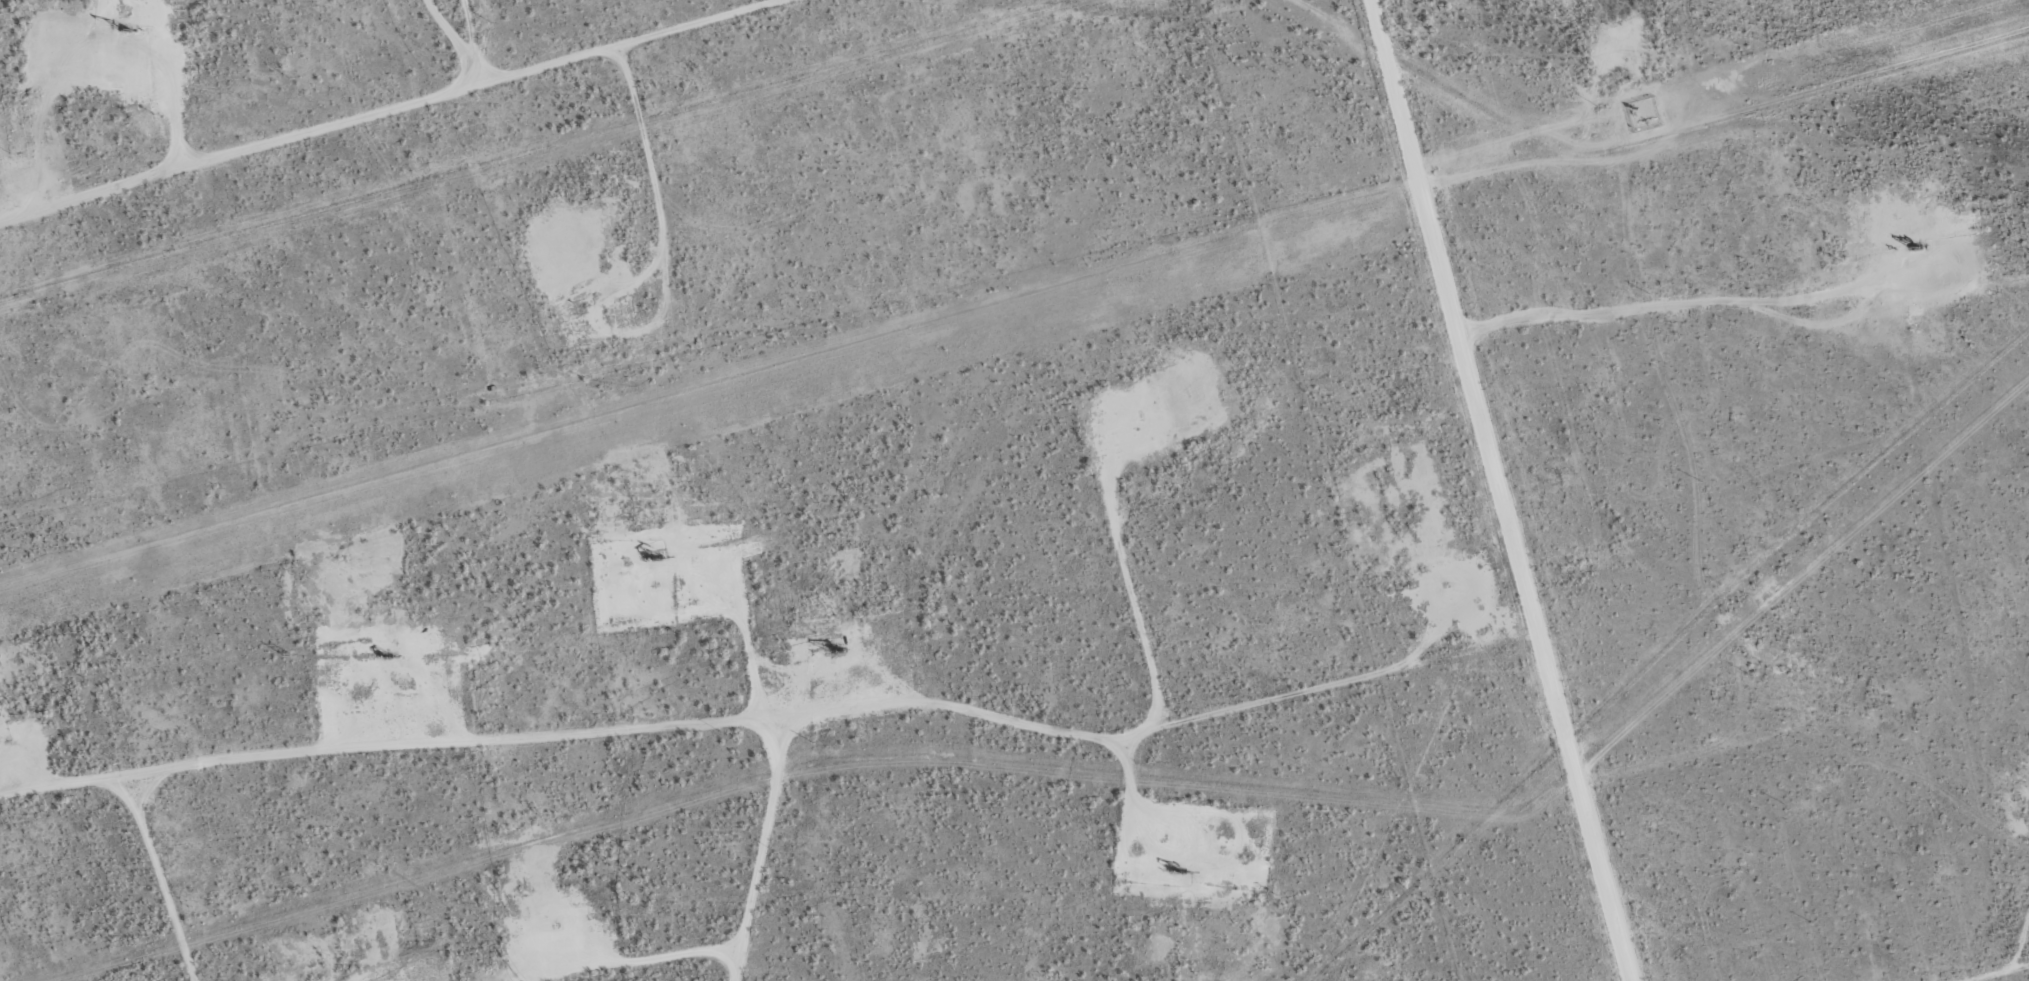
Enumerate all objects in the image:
road: (1291, 490)

